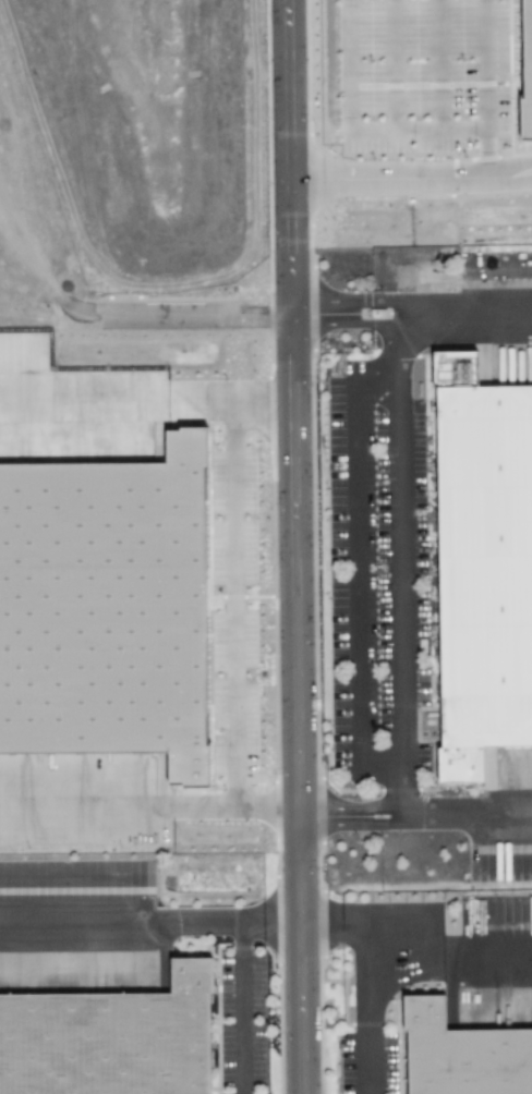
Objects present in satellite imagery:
building: (523, 71)
road: (485, 90)
road: (392, 111)
road: (410, 182)
road: (411, 316)
road: (201, 326)
road: (83, 398)
road: (229, 399)
road: (354, 546)
road: (293, 547)
building: (482, 564)
road: (397, 576)
road: (233, 603)
road: (234, 807)
road: (86, 810)
road: (464, 815)
road: (372, 816)
road: (149, 926)
road: (414, 949)
road: (240, 1010)
road: (370, 1014)
building: (105, 1024)
building: (461, 1055)

